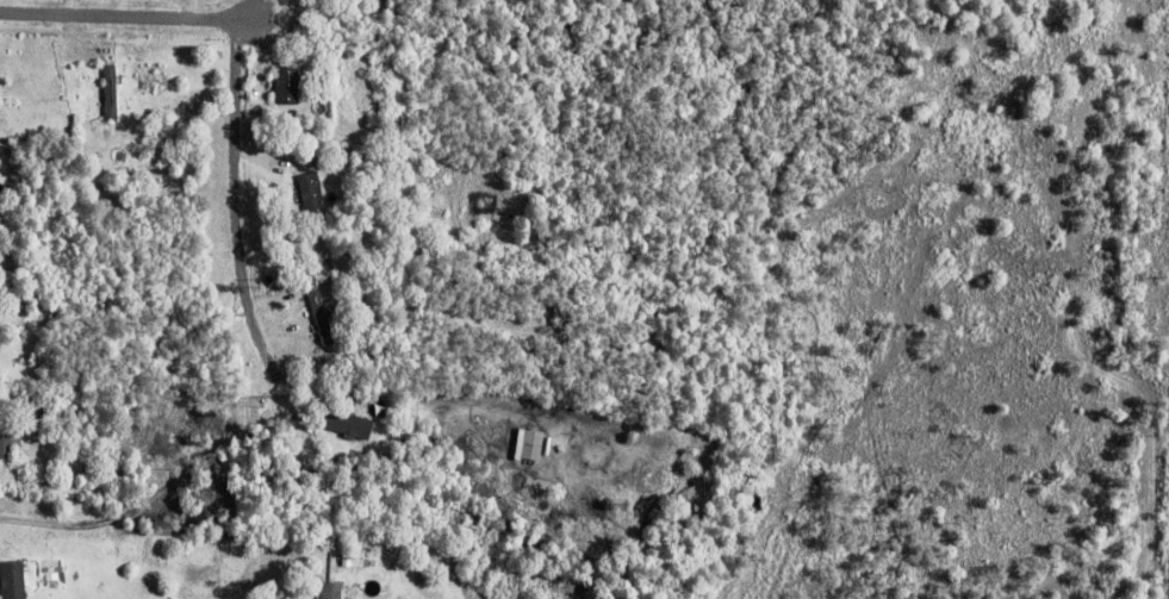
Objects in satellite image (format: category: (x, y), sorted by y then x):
road: (136, 18)
building: (288, 83)
building: (112, 88)
building: (148, 131)
building: (290, 139)
building: (319, 157)
building: (286, 167)
building: (312, 192)
road: (240, 235)
building: (310, 276)
building: (323, 314)
building: (37, 408)
building: (344, 419)
building: (8, 436)
building: (533, 443)
building: (347, 562)
building: (14, 579)
building: (332, 588)

